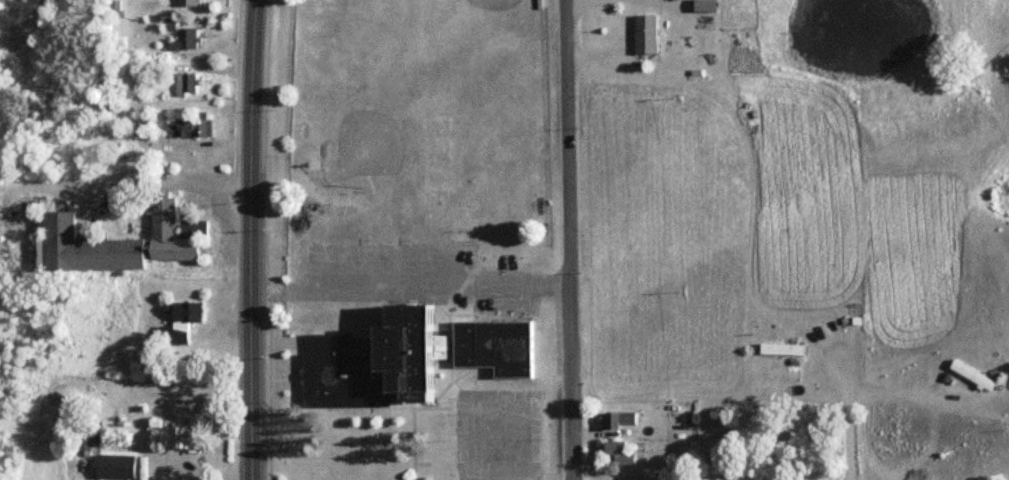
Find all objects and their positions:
road: (566, 0)
road: (665, 2)
building: (185, 3)
building: (644, 34)
building: (184, 40)
building: (184, 82)
building: (137, 121)
building: (189, 128)
building: (195, 208)
road: (250, 239)
road: (565, 240)
building: (122, 241)
road: (408, 291)
building: (176, 321)
building: (491, 346)
building: (778, 349)
building: (374, 360)
building: (969, 375)
road: (902, 393)
road: (850, 408)
building: (615, 421)
building: (172, 435)
building: (619, 455)
building: (113, 466)

